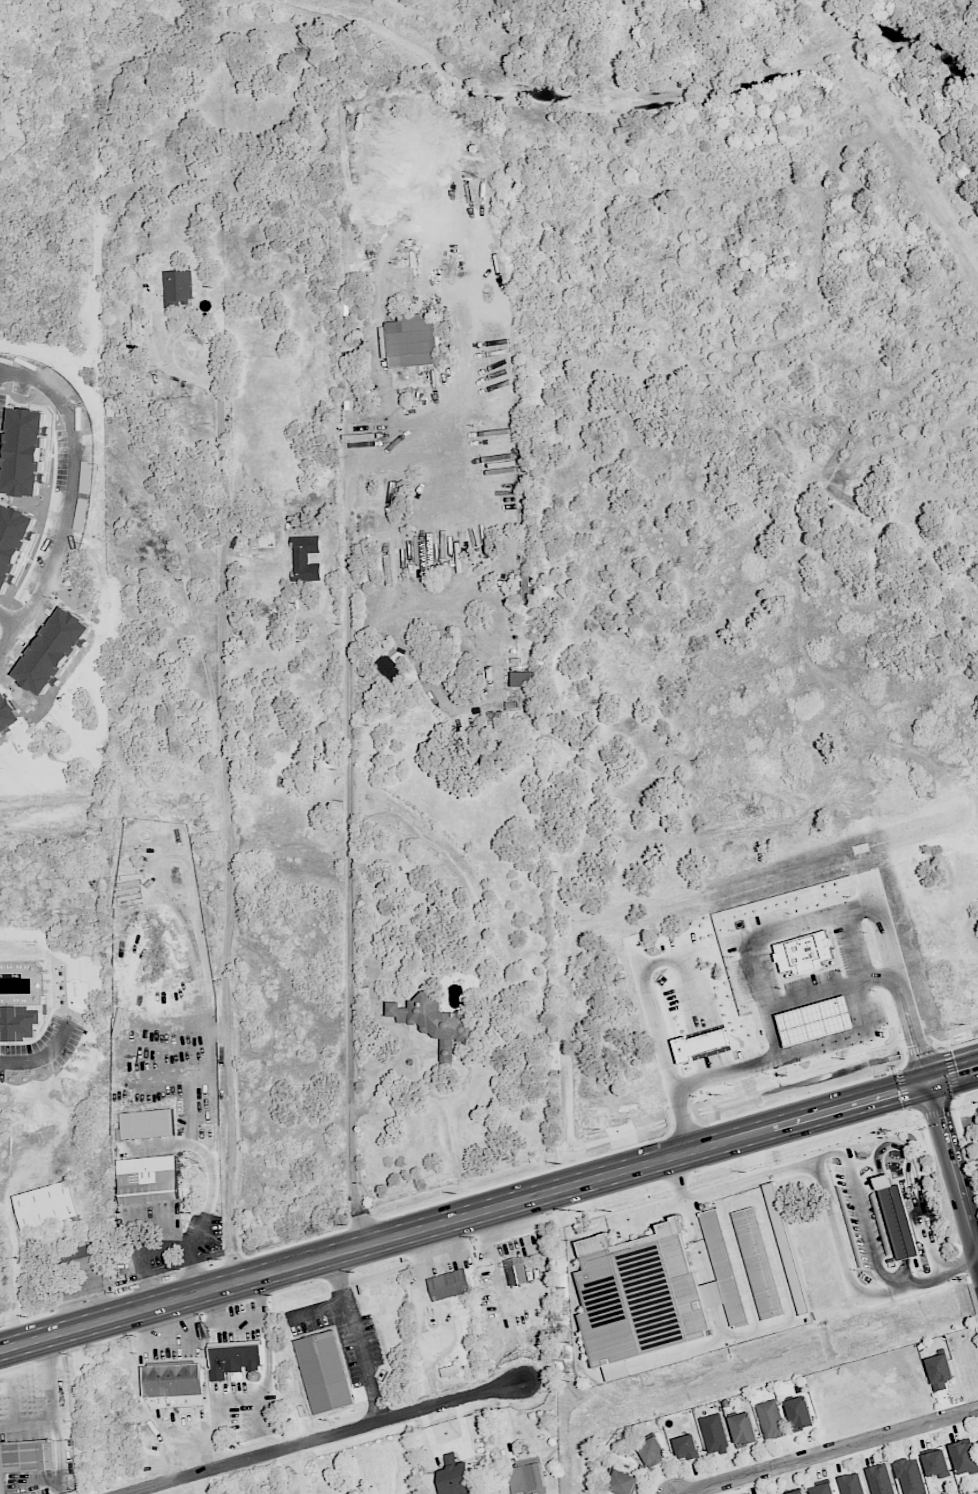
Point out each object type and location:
building: (178, 289)
building: (409, 341)
road: (71, 499)
building: (261, 548)
road: (8, 621)
building: (394, 664)
building: (522, 678)
road: (15, 688)
road: (231, 834)
road: (351, 846)
road: (843, 914)
road: (833, 987)
road: (658, 1014)
building: (433, 1021)
road: (831, 1042)
road: (44, 1055)
road: (951, 1075)
traffic signals: (929, 1084)
road: (902, 1089)
road: (960, 1094)
road: (437, 1096)
road: (936, 1112)
road: (751, 1157)
road: (863, 1163)
road: (953, 1171)
road: (898, 1177)
building: (147, 1179)
road: (488, 1186)
road: (826, 1204)
building: (46, 1205)
road: (561, 1209)
road: (489, 1210)
road: (150, 1214)
building: (895, 1217)
road: (894, 1225)
road: (976, 1245)
road: (13, 1247)
building: (786, 1248)
building: (75, 1257)
building: (757, 1263)
building: (515, 1271)
road: (907, 1278)
building: (448, 1284)
building: (651, 1293)
road: (315, 1309)
road: (242, 1316)
road: (253, 1322)
road: (186, 1337)
road: (353, 1340)
building: (238, 1356)
building: (939, 1371)
building: (323, 1372)
road: (49, 1378)
building: (171, 1380)
road: (135, 1384)
road: (12, 1398)
building: (799, 1413)
building: (770, 1419)
building: (743, 1429)
road: (56, 1431)
building: (714, 1434)
road: (199, 1437)
road: (325, 1438)
building: (686, 1447)
building: (652, 1451)
road: (832, 1451)
building: (963, 1456)
building: (25, 1458)
building: (935, 1462)
road: (298, 1470)
building: (453, 1476)
building: (910, 1476)
building: (527, 1477)
building: (879, 1479)
building: (621, 1482)
building: (850, 1484)
building: (822, 1489)
building: (25, 1493)

